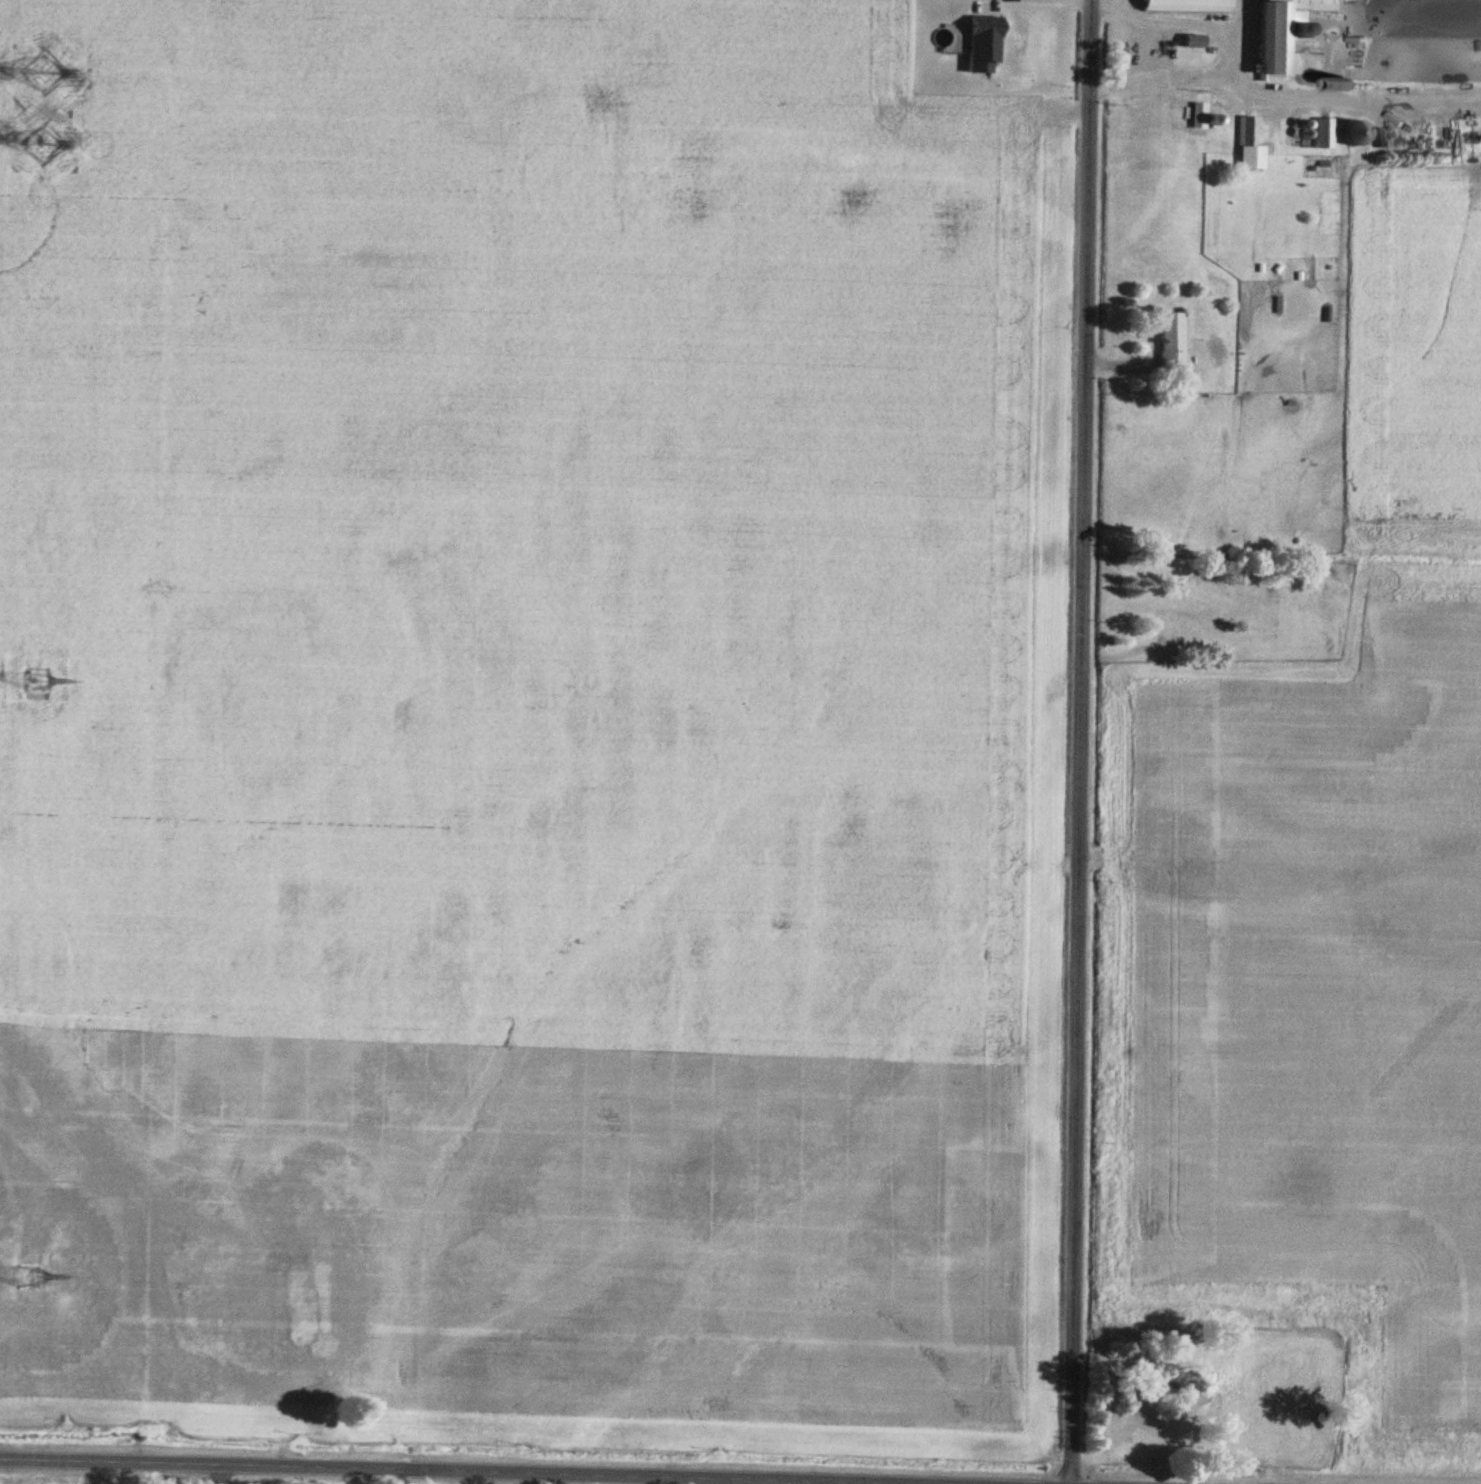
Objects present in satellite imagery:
building: (1189, 6)
road: (1243, 17)
road: (1176, 24)
building: (1289, 32)
building: (985, 44)
building: (1155, 49)
power tower: (44, 74)
road: (1180, 79)
road: (1258, 97)
road: (1389, 101)
building: (1207, 115)
power tower: (44, 146)
building: (1252, 146)
crop: (1480, 162)
building: (1173, 340)
crop: (1414, 340)
crop: (1412, 536)
power tower: (34, 683)
crop: (511, 709)
road: (1082, 741)
crop: (1320, 1008)
power tower: (33, 1282)
road: (406, 1471)
road: (714, 1482)

